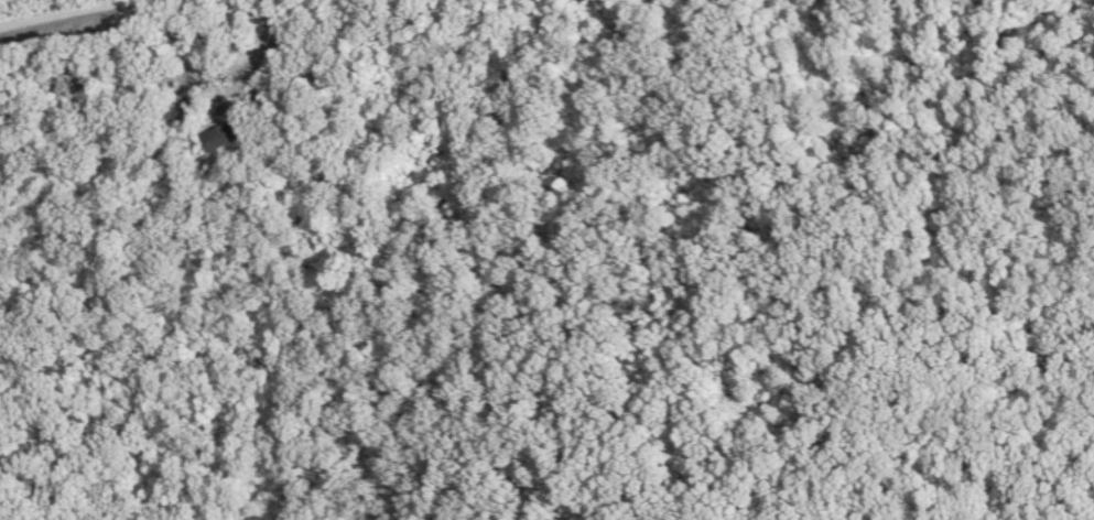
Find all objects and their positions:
road: (56, 11)
building: (182, 112)
building: (229, 136)

